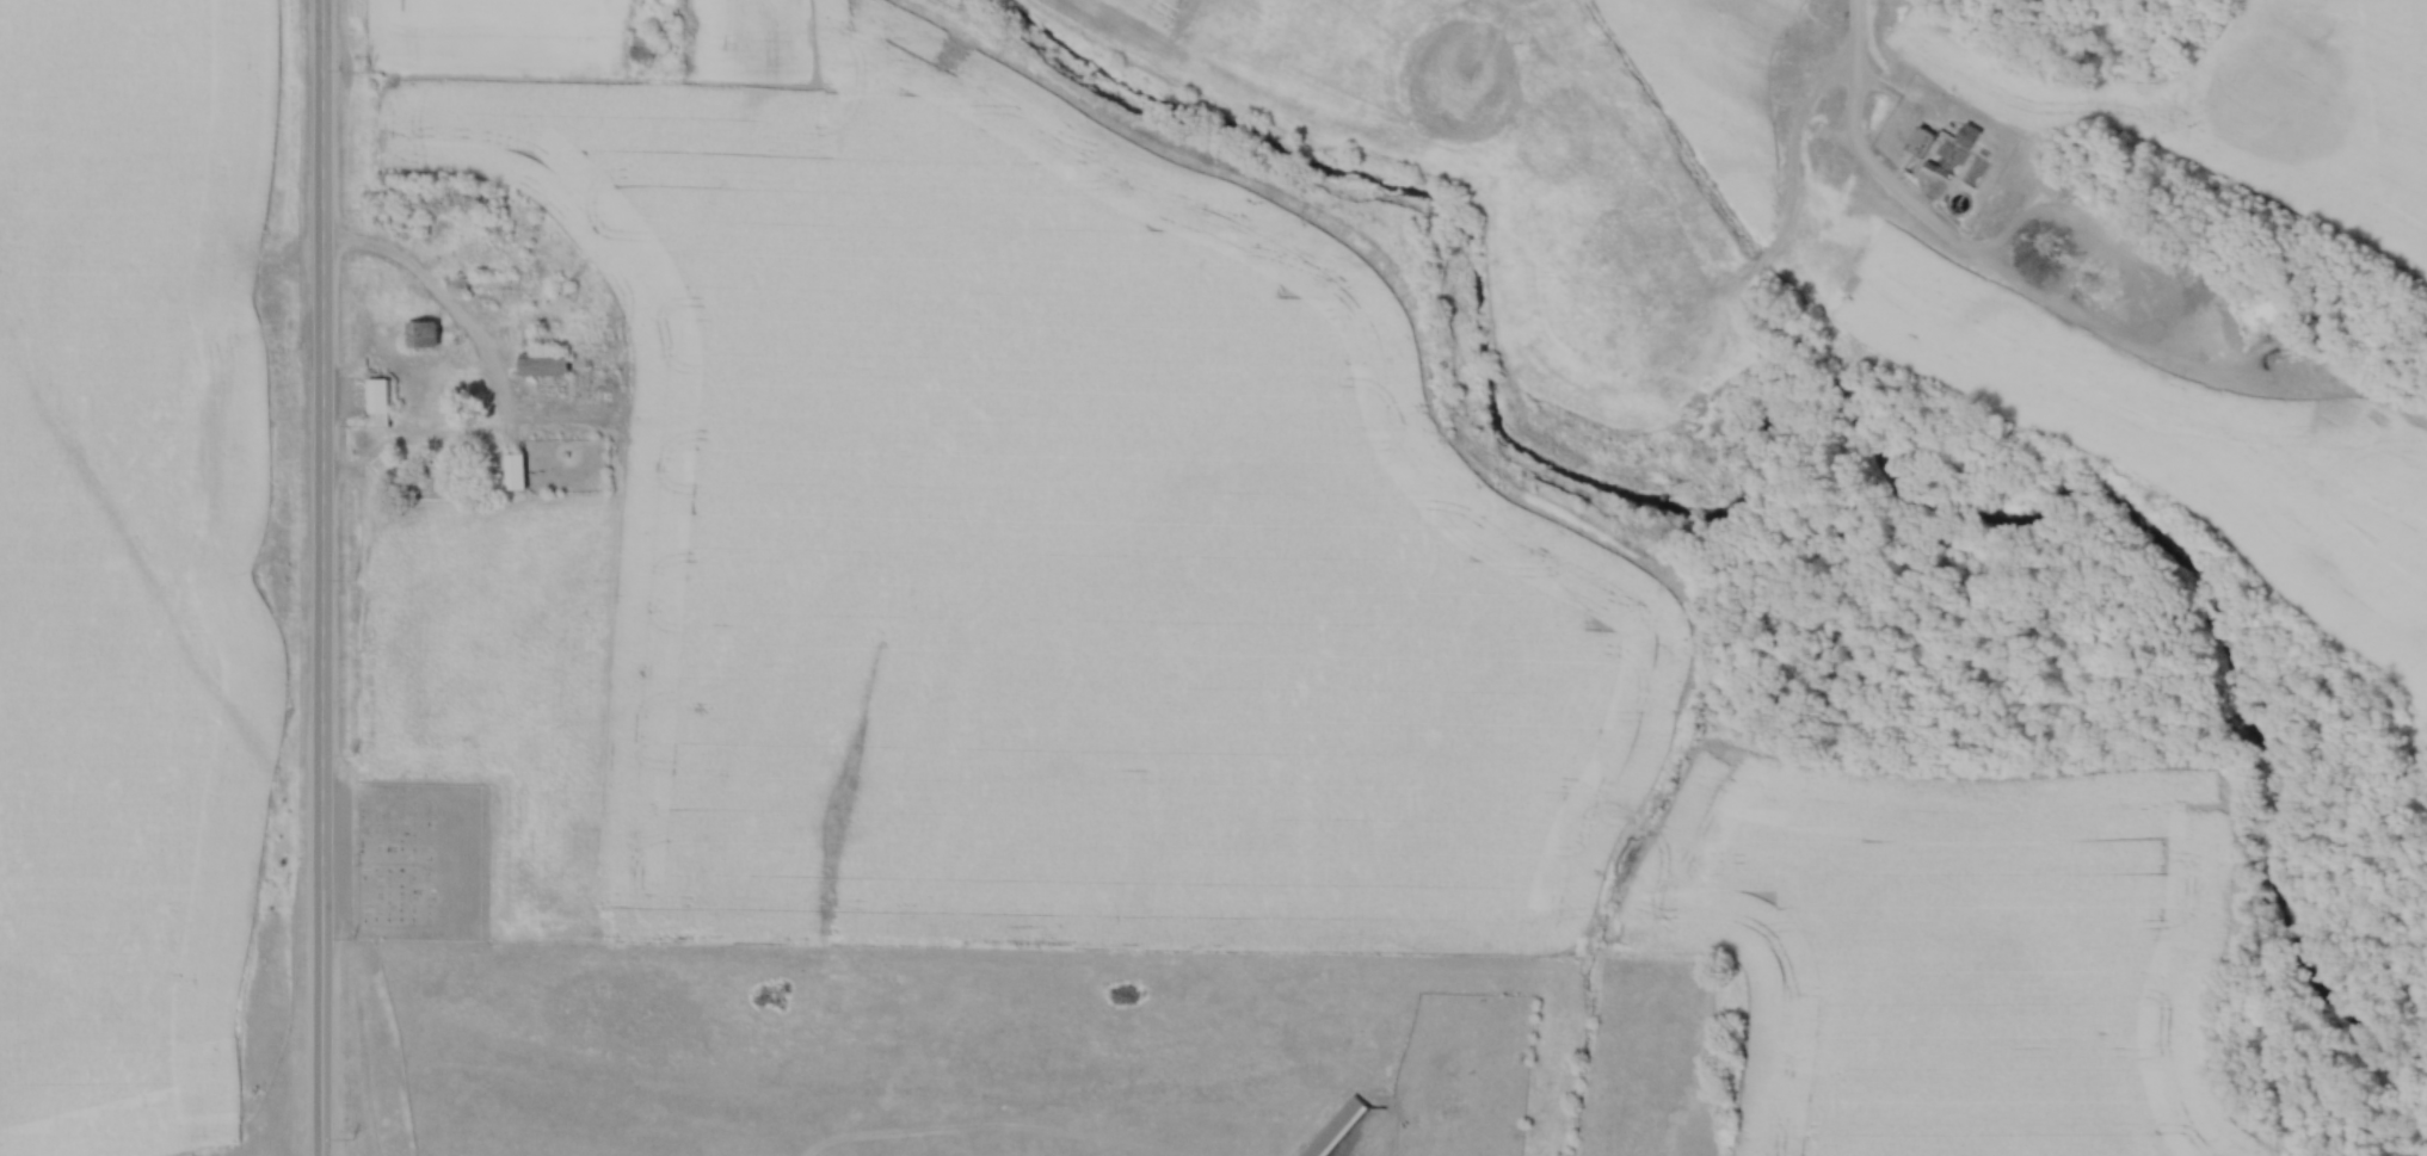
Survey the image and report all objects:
building: (661, 1)
building: (639, 49)
road: (320, 122)
building: (1965, 137)
building: (1916, 143)
road: (1880, 169)
building: (481, 286)
building: (555, 291)
road: (2150, 309)
building: (417, 336)
building: (550, 363)
road: (498, 378)
building: (386, 396)
building: (375, 403)
river: (1794, 414)
building: (520, 465)
building: (510, 474)
crop: (128, 565)
road: (320, 699)
park: (415, 863)
building: (1333, 1127)
river: (2426, 1150)

